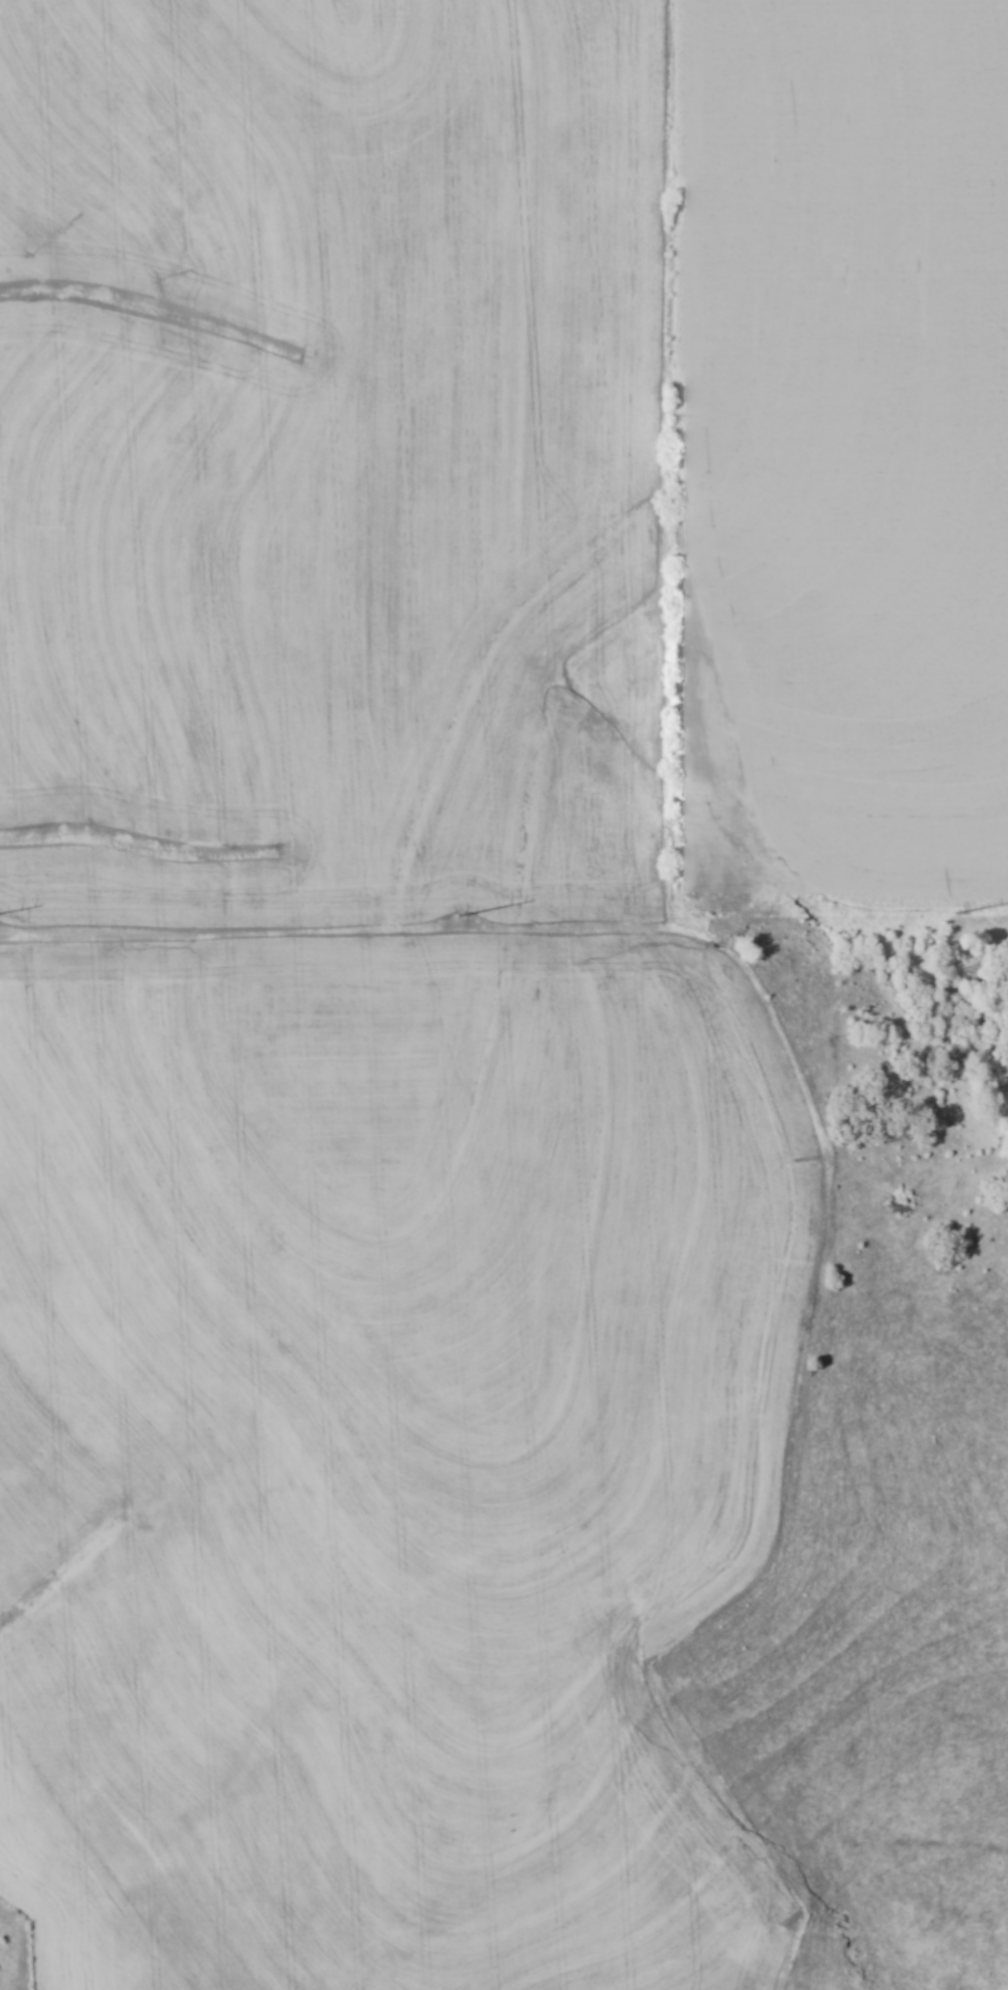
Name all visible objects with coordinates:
power tower: (952, 908)
power tower: (458, 913)

